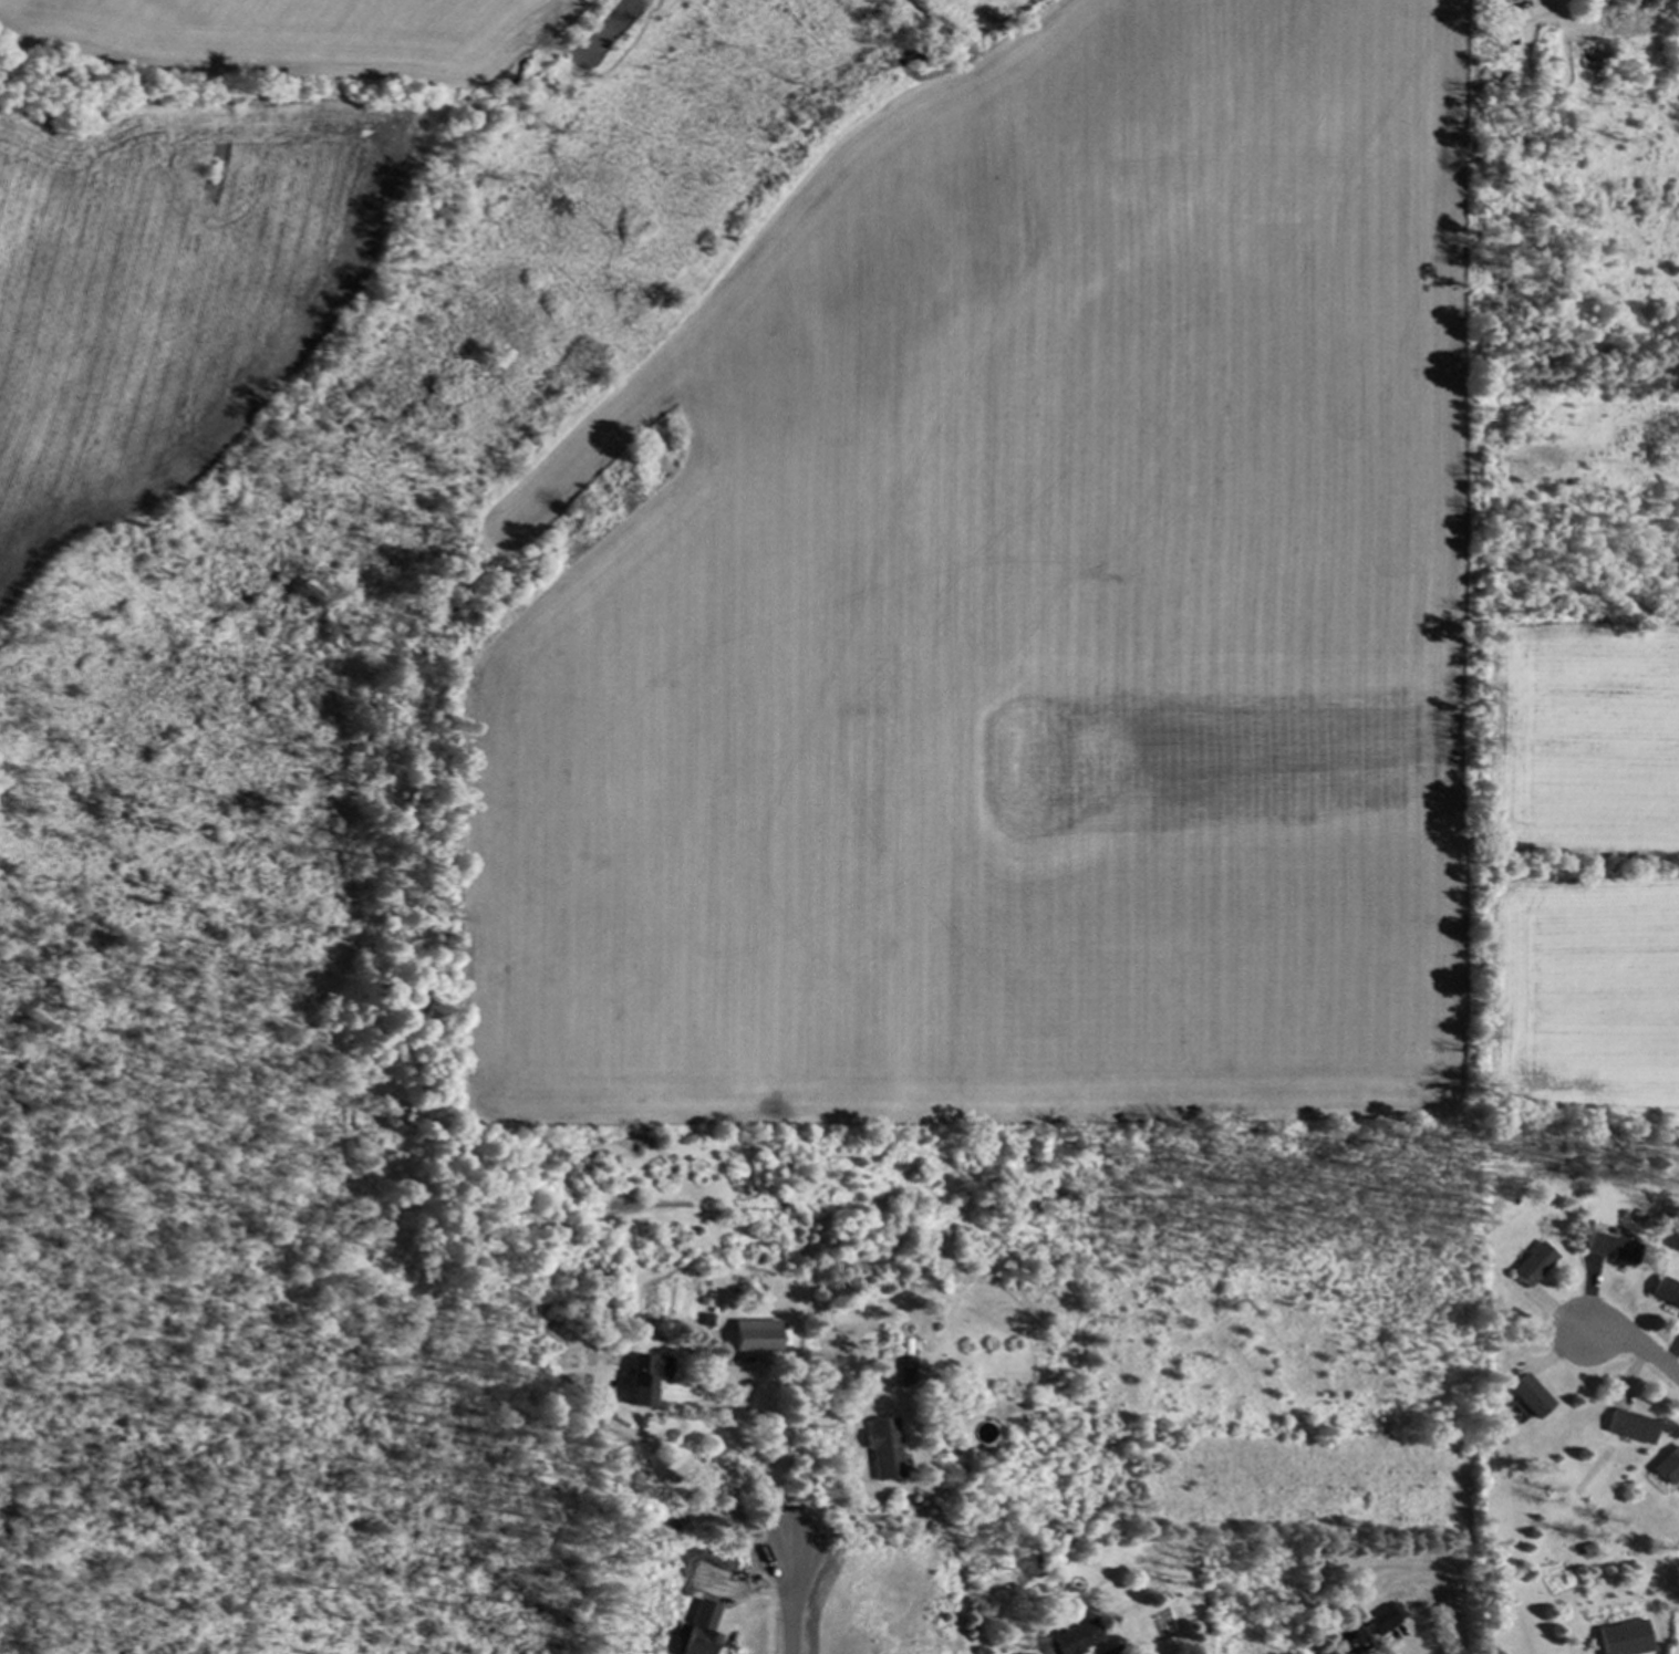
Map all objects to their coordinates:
building: (1503, 0)
building: (1615, 1249)
building: (1535, 1266)
building: (1667, 1292)
building: (755, 1338)
road: (1638, 1345)
building: (645, 1380)
building: (1531, 1397)
building: (1633, 1428)
building: (883, 1450)
building: (1676, 1468)
building: (1071, 1587)
road: (791, 1595)
building: (1386, 1621)
building: (701, 1630)
building: (1356, 1637)
building: (1625, 1639)
building: (1074, 1640)

